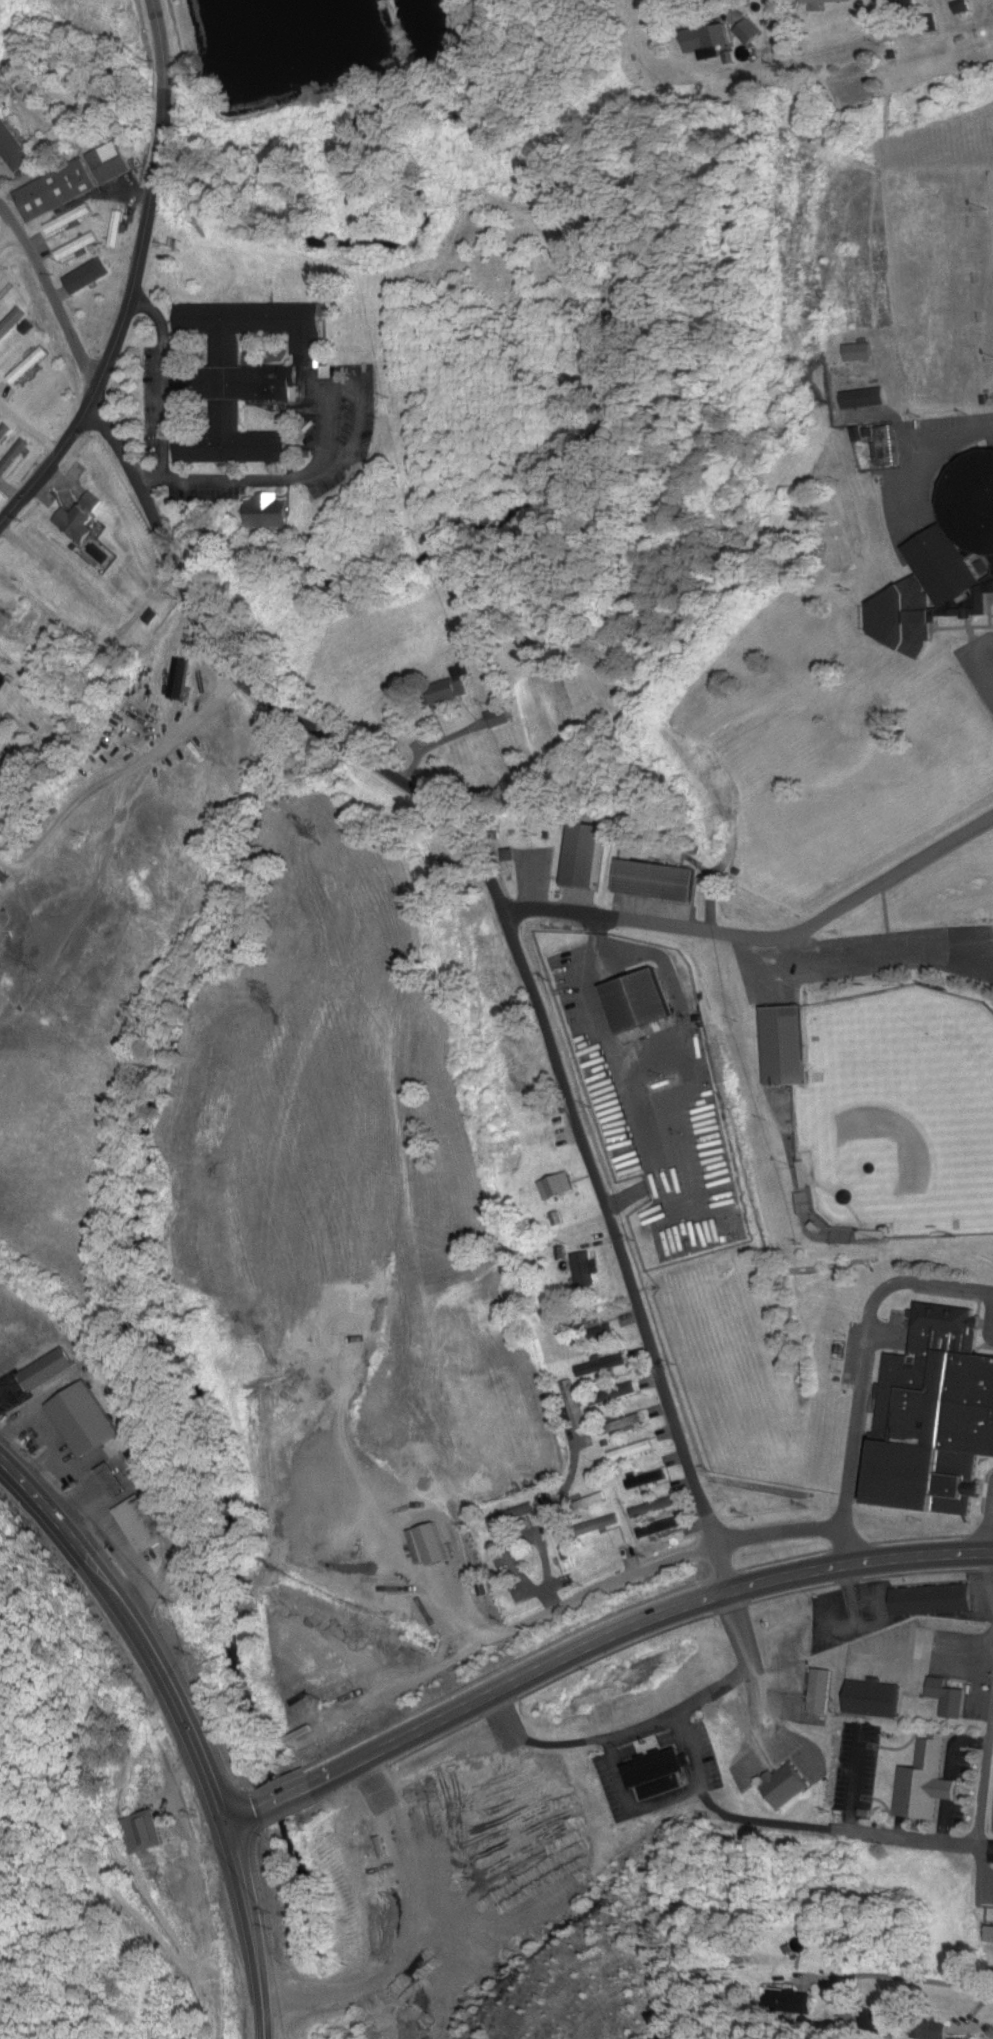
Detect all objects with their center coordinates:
building: (826, 1)
building: (960, 7)
road: (161, 30)
building: (747, 32)
building: (703, 42)
building: (12, 149)
building: (110, 163)
building: (57, 191)
building: (69, 220)
building: (116, 229)
road: (144, 231)
building: (77, 247)
building: (90, 272)
building: (6, 290)
building: (12, 323)
building: (256, 323)
building: (28, 366)
building: (861, 375)
building: (863, 398)
building: (237, 416)
road: (31, 418)
building: (4, 431)
building: (886, 446)
building: (13, 457)
road: (937, 458)
road: (51, 462)
building: (971, 502)
building: (269, 512)
building: (81, 519)
road: (1, 521)
building: (945, 565)
building: (42, 576)
building: (85, 615)
building: (901, 619)
building: (23, 626)
road: (977, 655)
building: (180, 679)
building: (445, 692)
road: (445, 818)
building: (583, 857)
building: (654, 884)
road: (886, 913)
road: (888, 936)
road: (761, 938)
road: (776, 944)
road: (960, 956)
building: (640, 1004)
building: (785, 1050)
park: (912, 1094)
stadium: (898, 1115)
building: (555, 1187)
building: (583, 1271)
building: (600, 1328)
road: (991, 1328)
road: (885, 1337)
road: (863, 1351)
building: (602, 1366)
building: (573, 1406)
building: (933, 1416)
building: (84, 1420)
building: (620, 1425)
building: (632, 1451)
building: (644, 1479)
building: (593, 1501)
building: (653, 1507)
building: (513, 1514)
building: (602, 1523)
building: (660, 1528)
road: (990, 1533)
road: (777, 1534)
road: (538, 1543)
road: (844, 1546)
building: (563, 1549)
building: (496, 1569)
road: (721, 1570)
road: (989, 1575)
road: (591, 1596)
road: (853, 1597)
building: (932, 1599)
road: (547, 1606)
building: (453, 1608)
road: (857, 1629)
road: (595, 1645)
road: (753, 1666)
building: (820, 1691)
building: (947, 1697)
road: (187, 1724)
road: (618, 1736)
building: (657, 1774)
road: (949, 1774)
road: (856, 1781)
building: (925, 1782)
building: (784, 1786)
road: (668, 1799)
road: (982, 1813)
building: (145, 1831)
road: (908, 1838)
road: (987, 1847)
building: (988, 1935)
road: (874, 1978)

